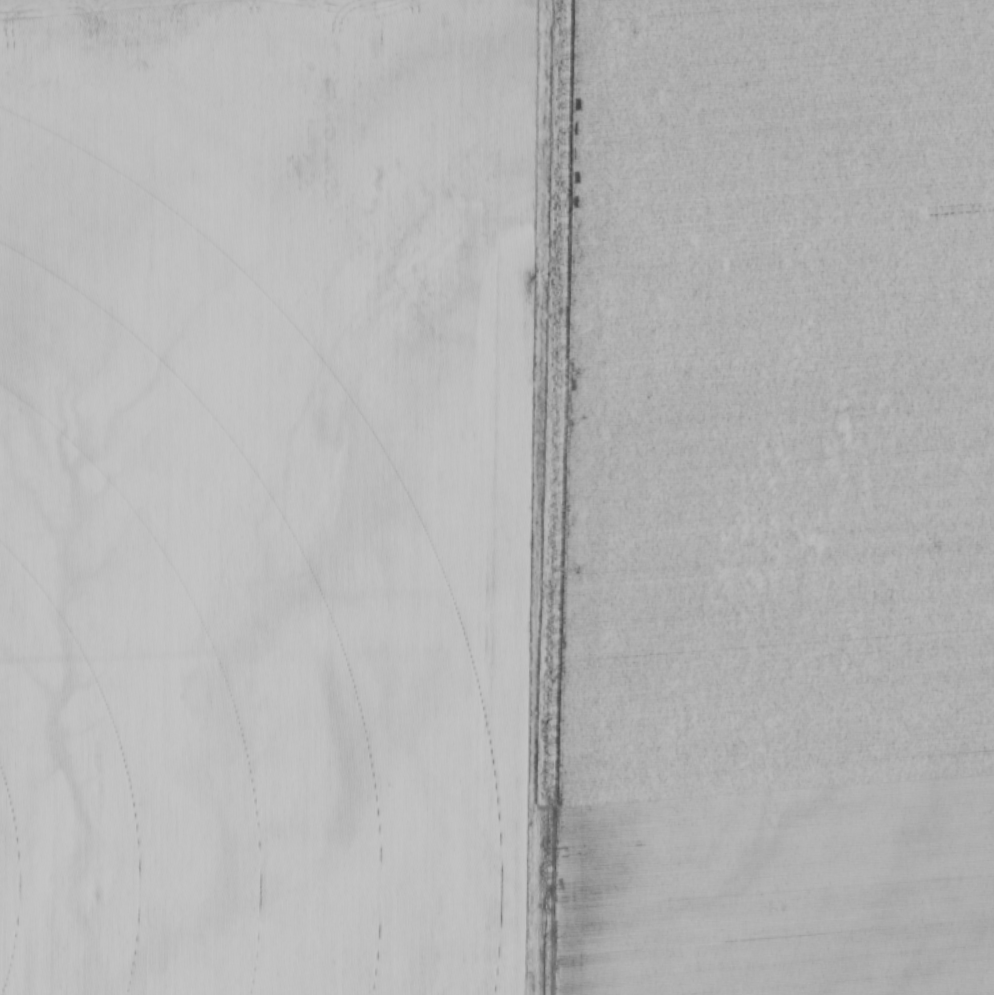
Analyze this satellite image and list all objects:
crop: (497, 497)

